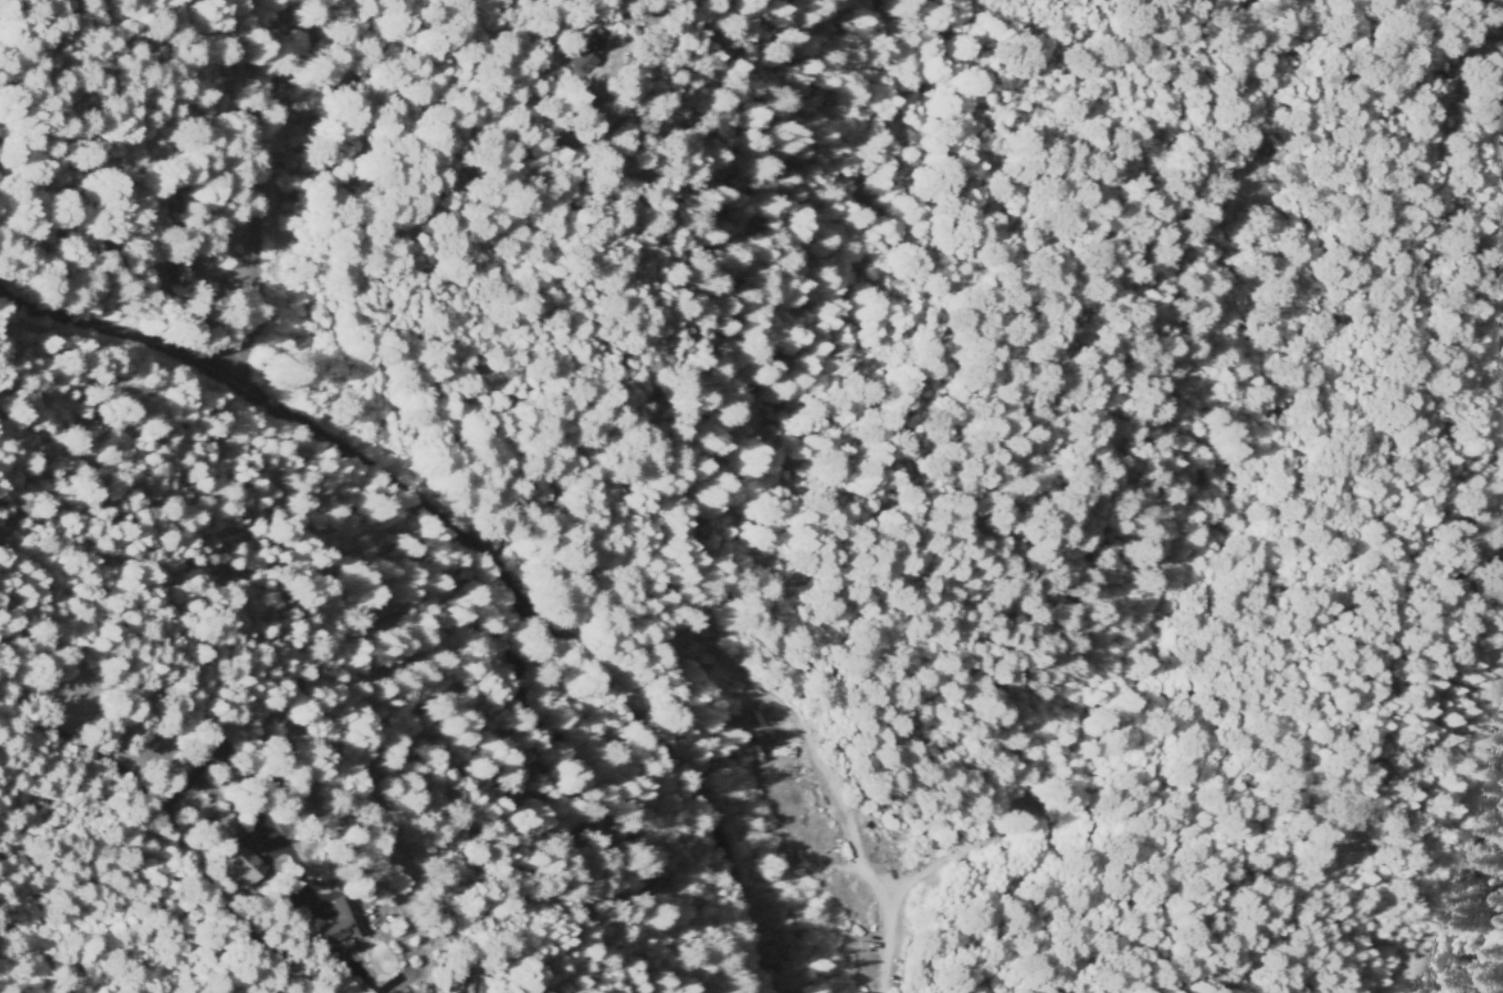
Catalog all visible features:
building: (590, 53)
road: (596, 287)
road: (1185, 388)
road: (483, 538)
building: (233, 840)
building: (249, 868)
building: (342, 923)

